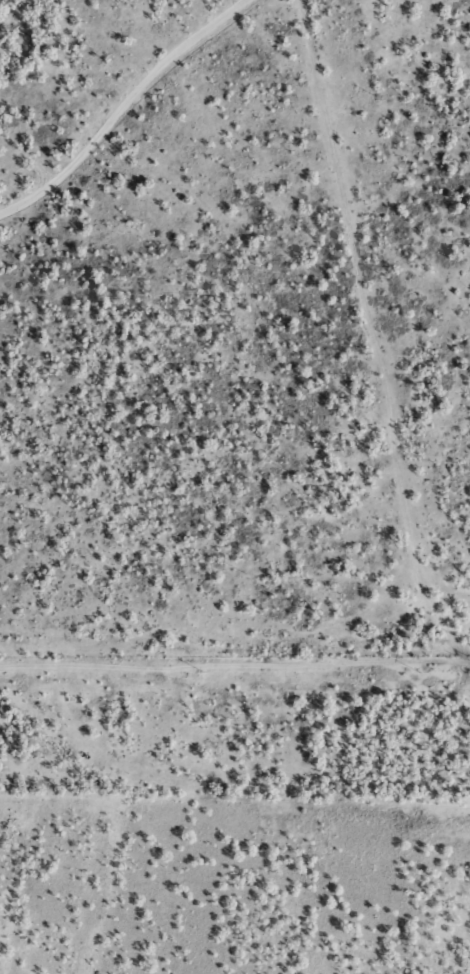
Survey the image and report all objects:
road: (147, 106)
road: (312, 178)
road: (353, 359)

